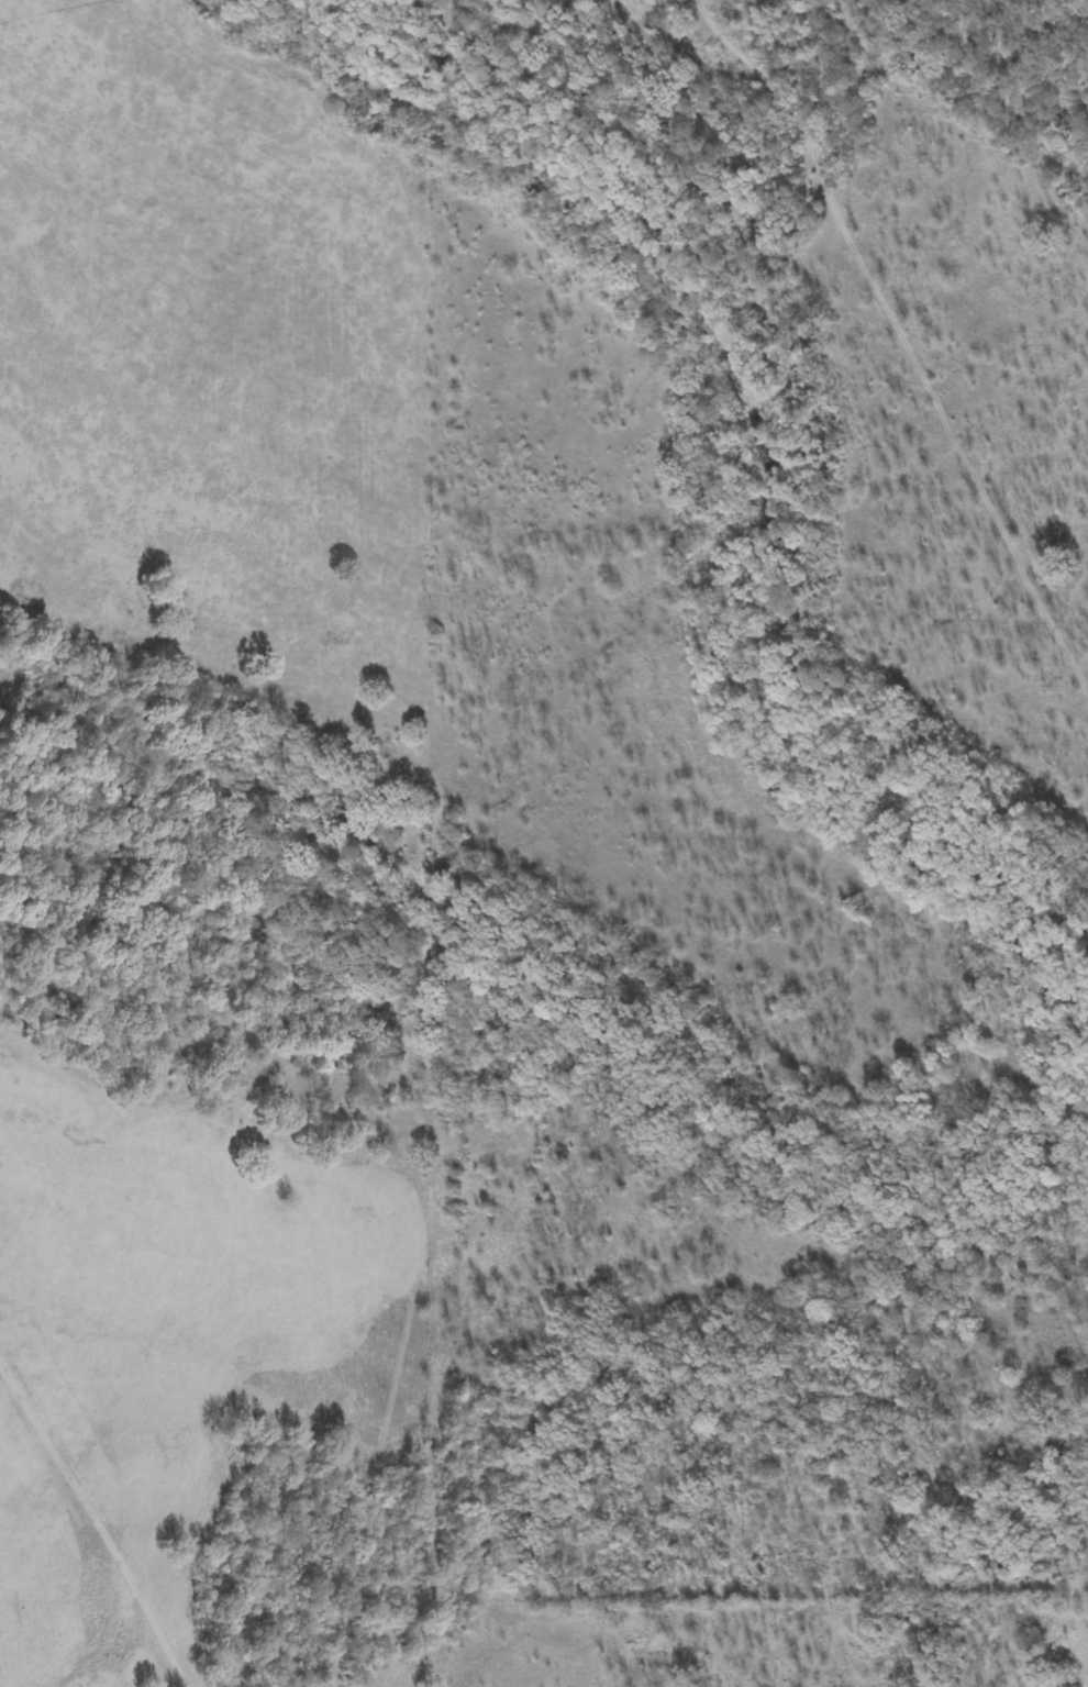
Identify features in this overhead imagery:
road: (95, 1521)
road: (1047, 1635)

